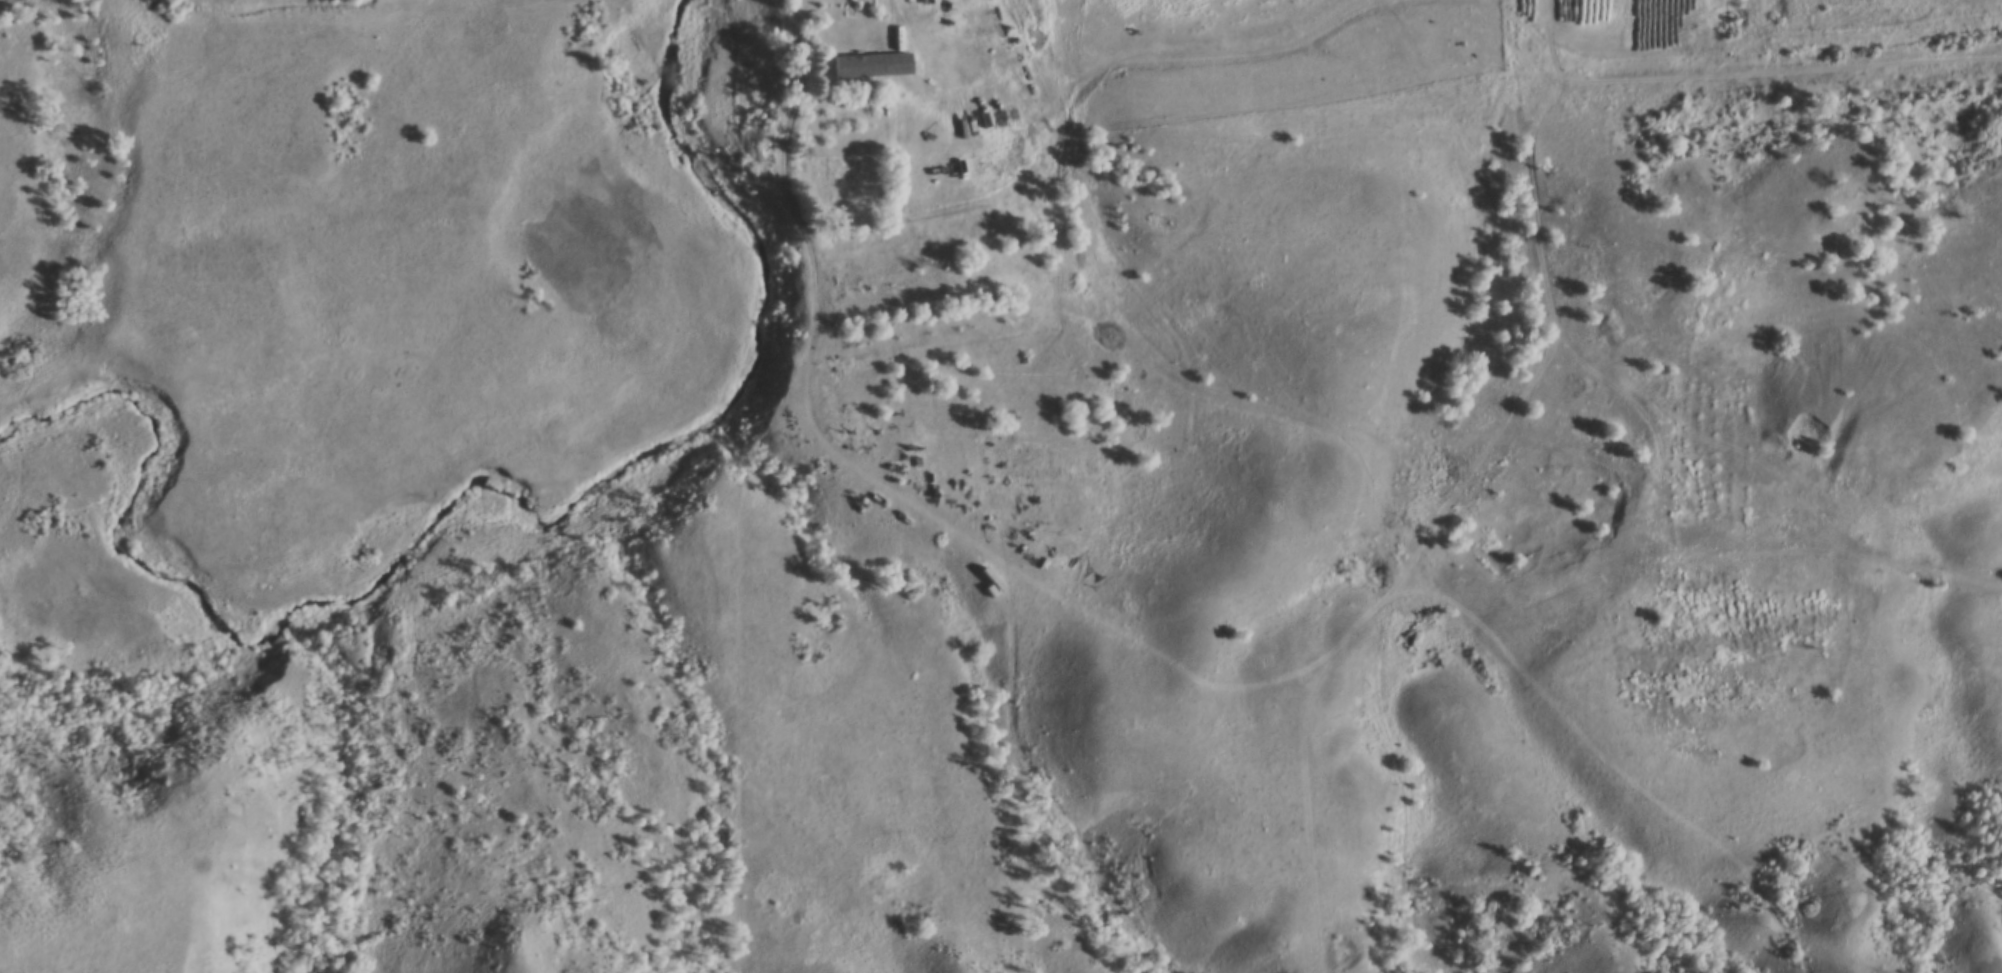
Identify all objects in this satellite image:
road: (1555, 39)
building: (873, 67)
road: (1615, 71)

